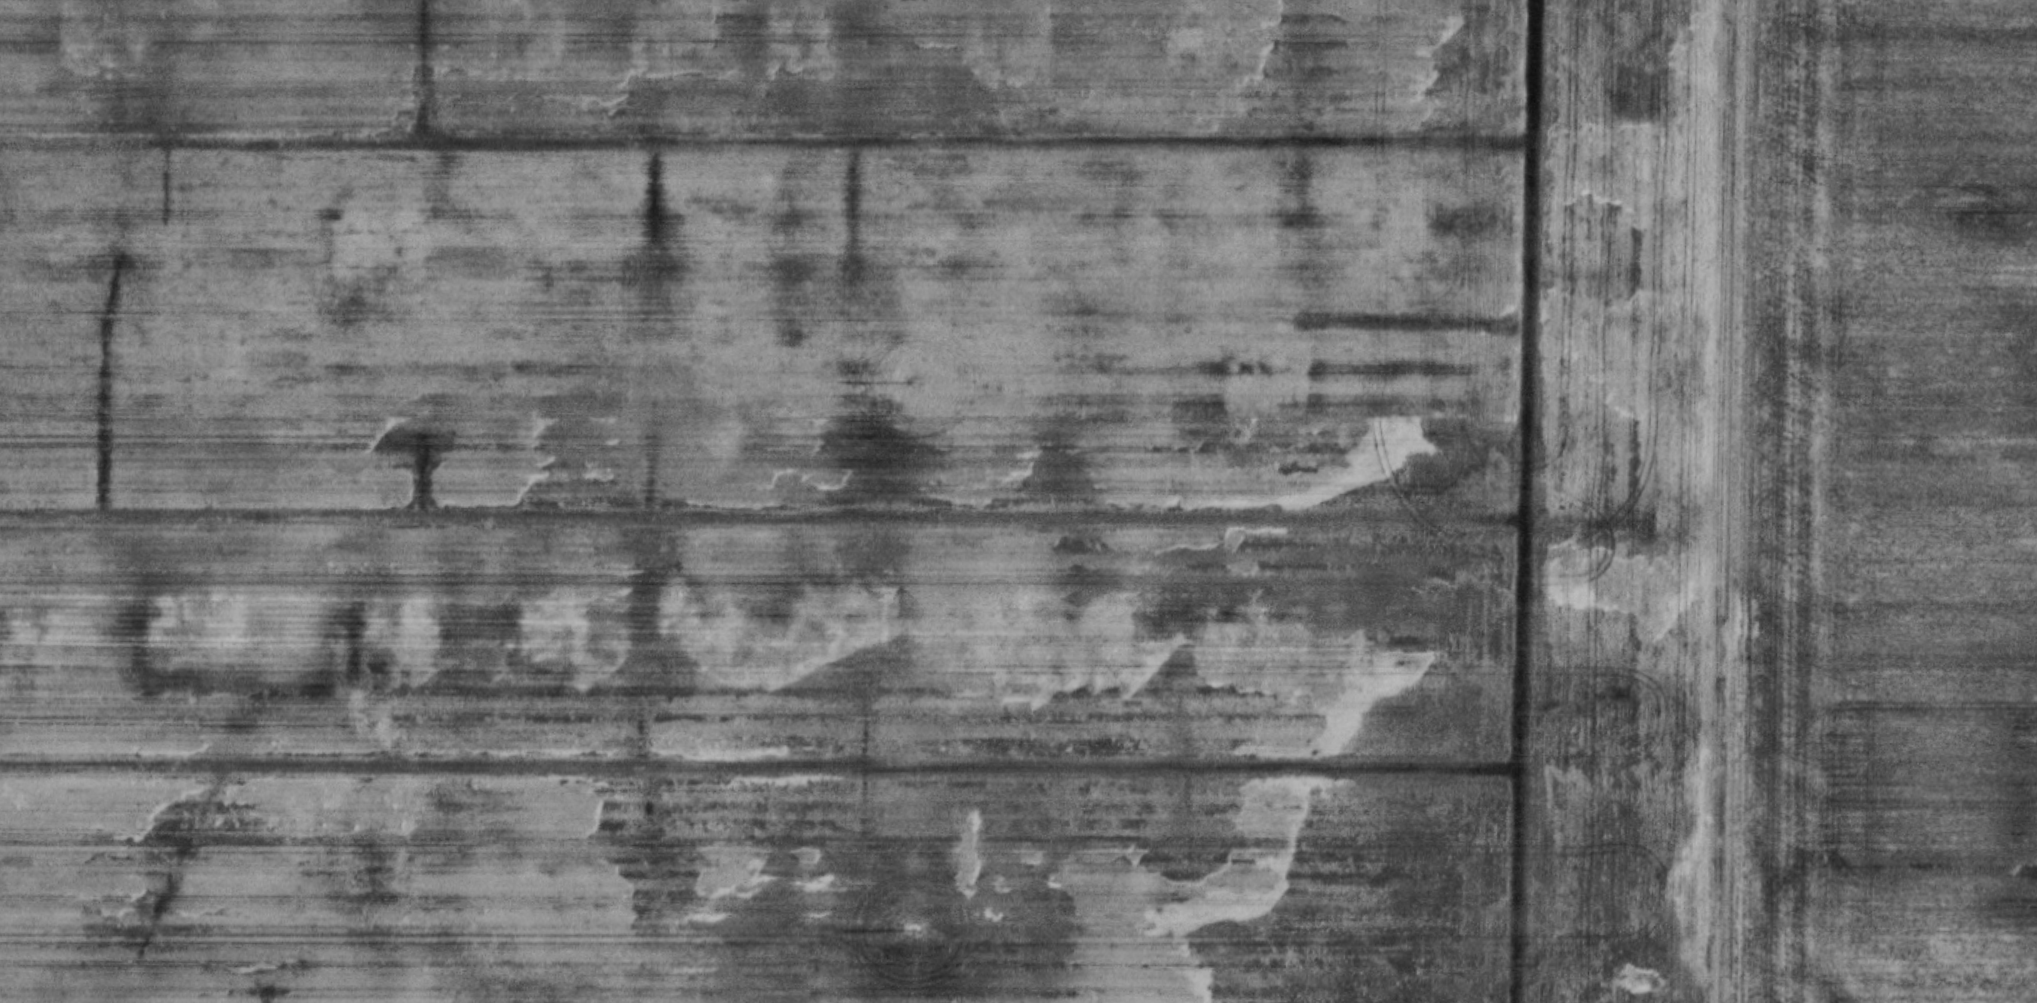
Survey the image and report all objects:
power tower: (906, 380)
power tower: (904, 929)

